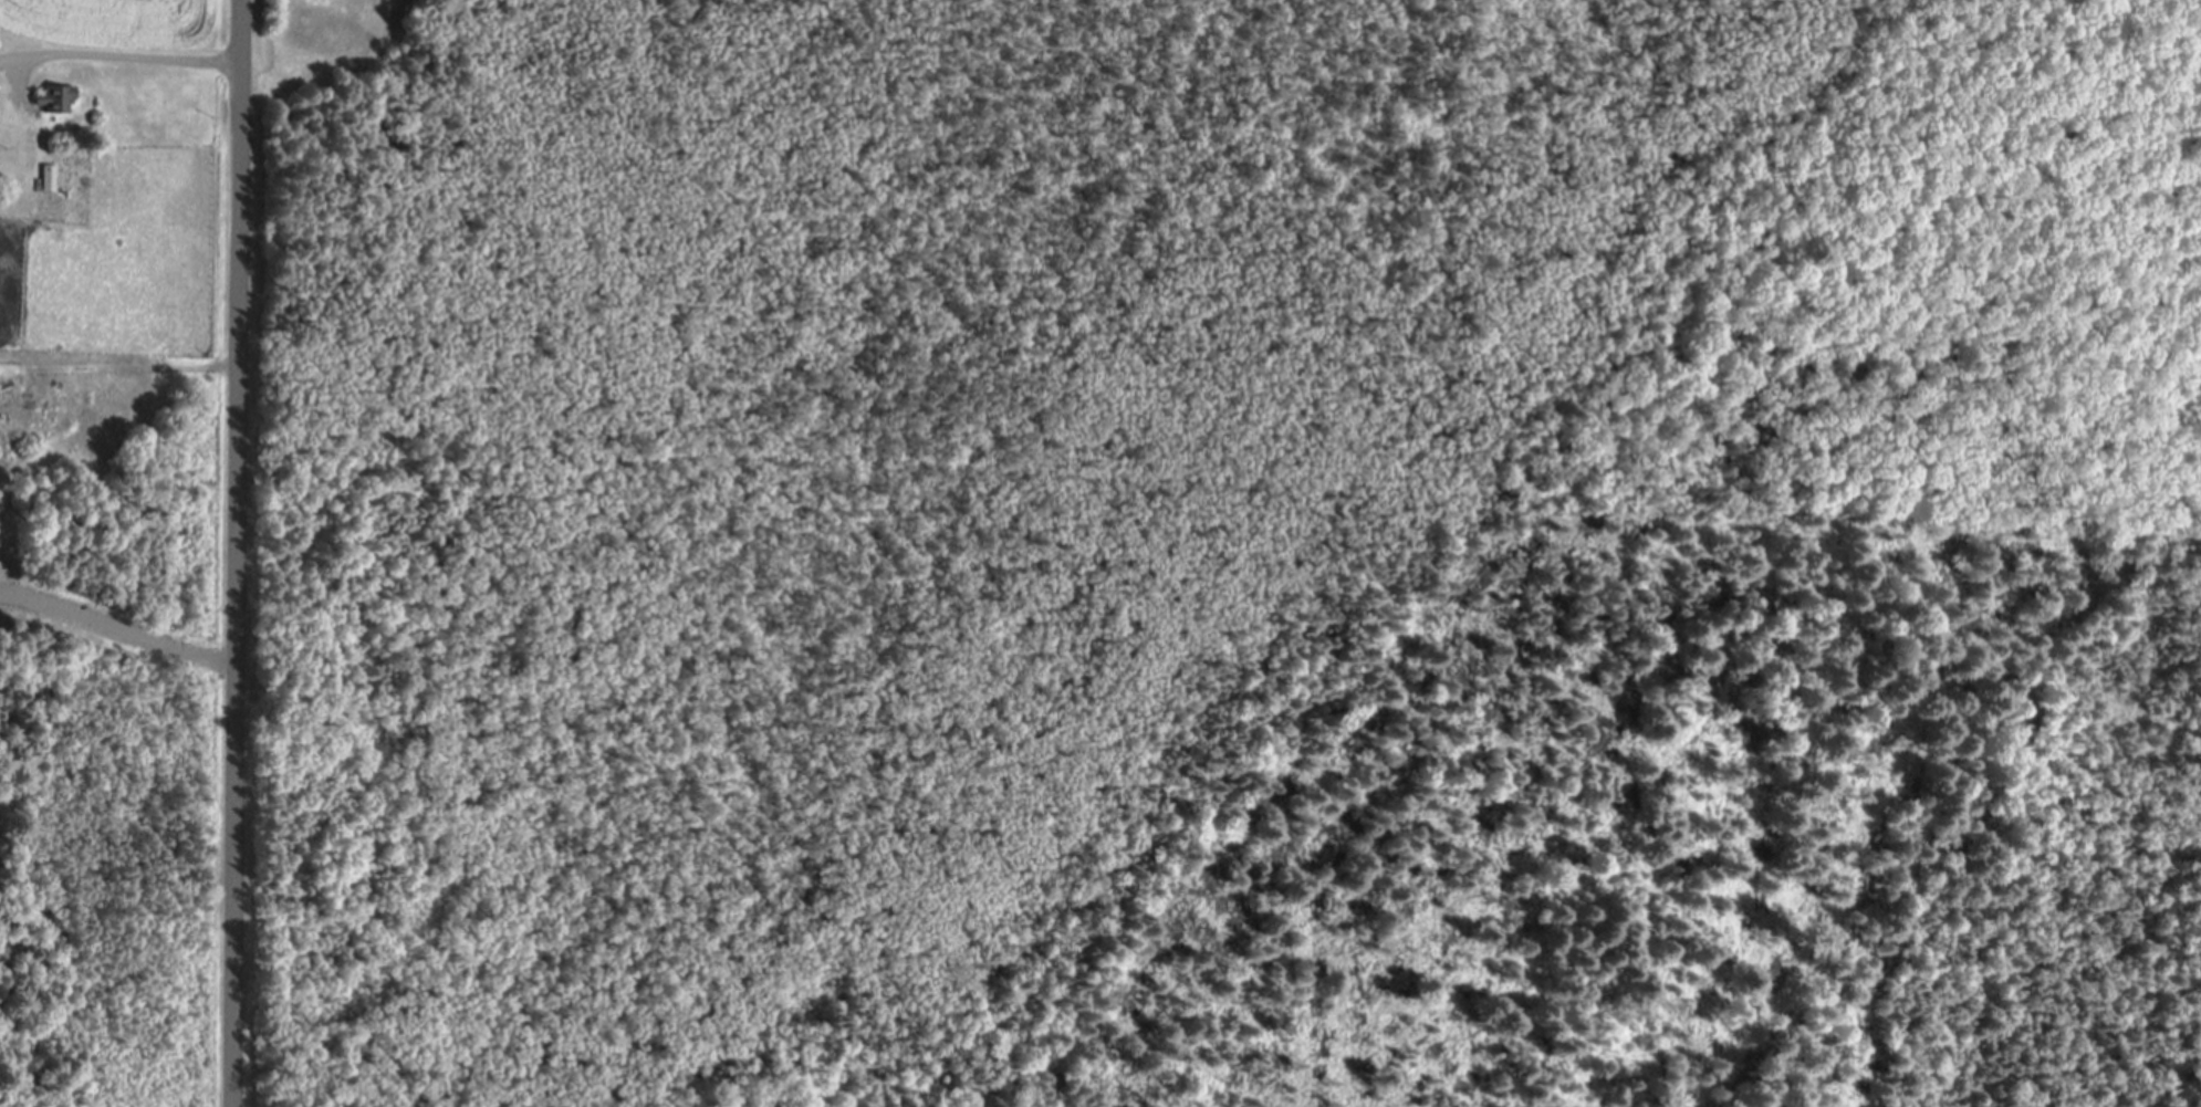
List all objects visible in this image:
road: (118, 59)
building: (51, 98)
building: (46, 178)
road: (236, 553)

